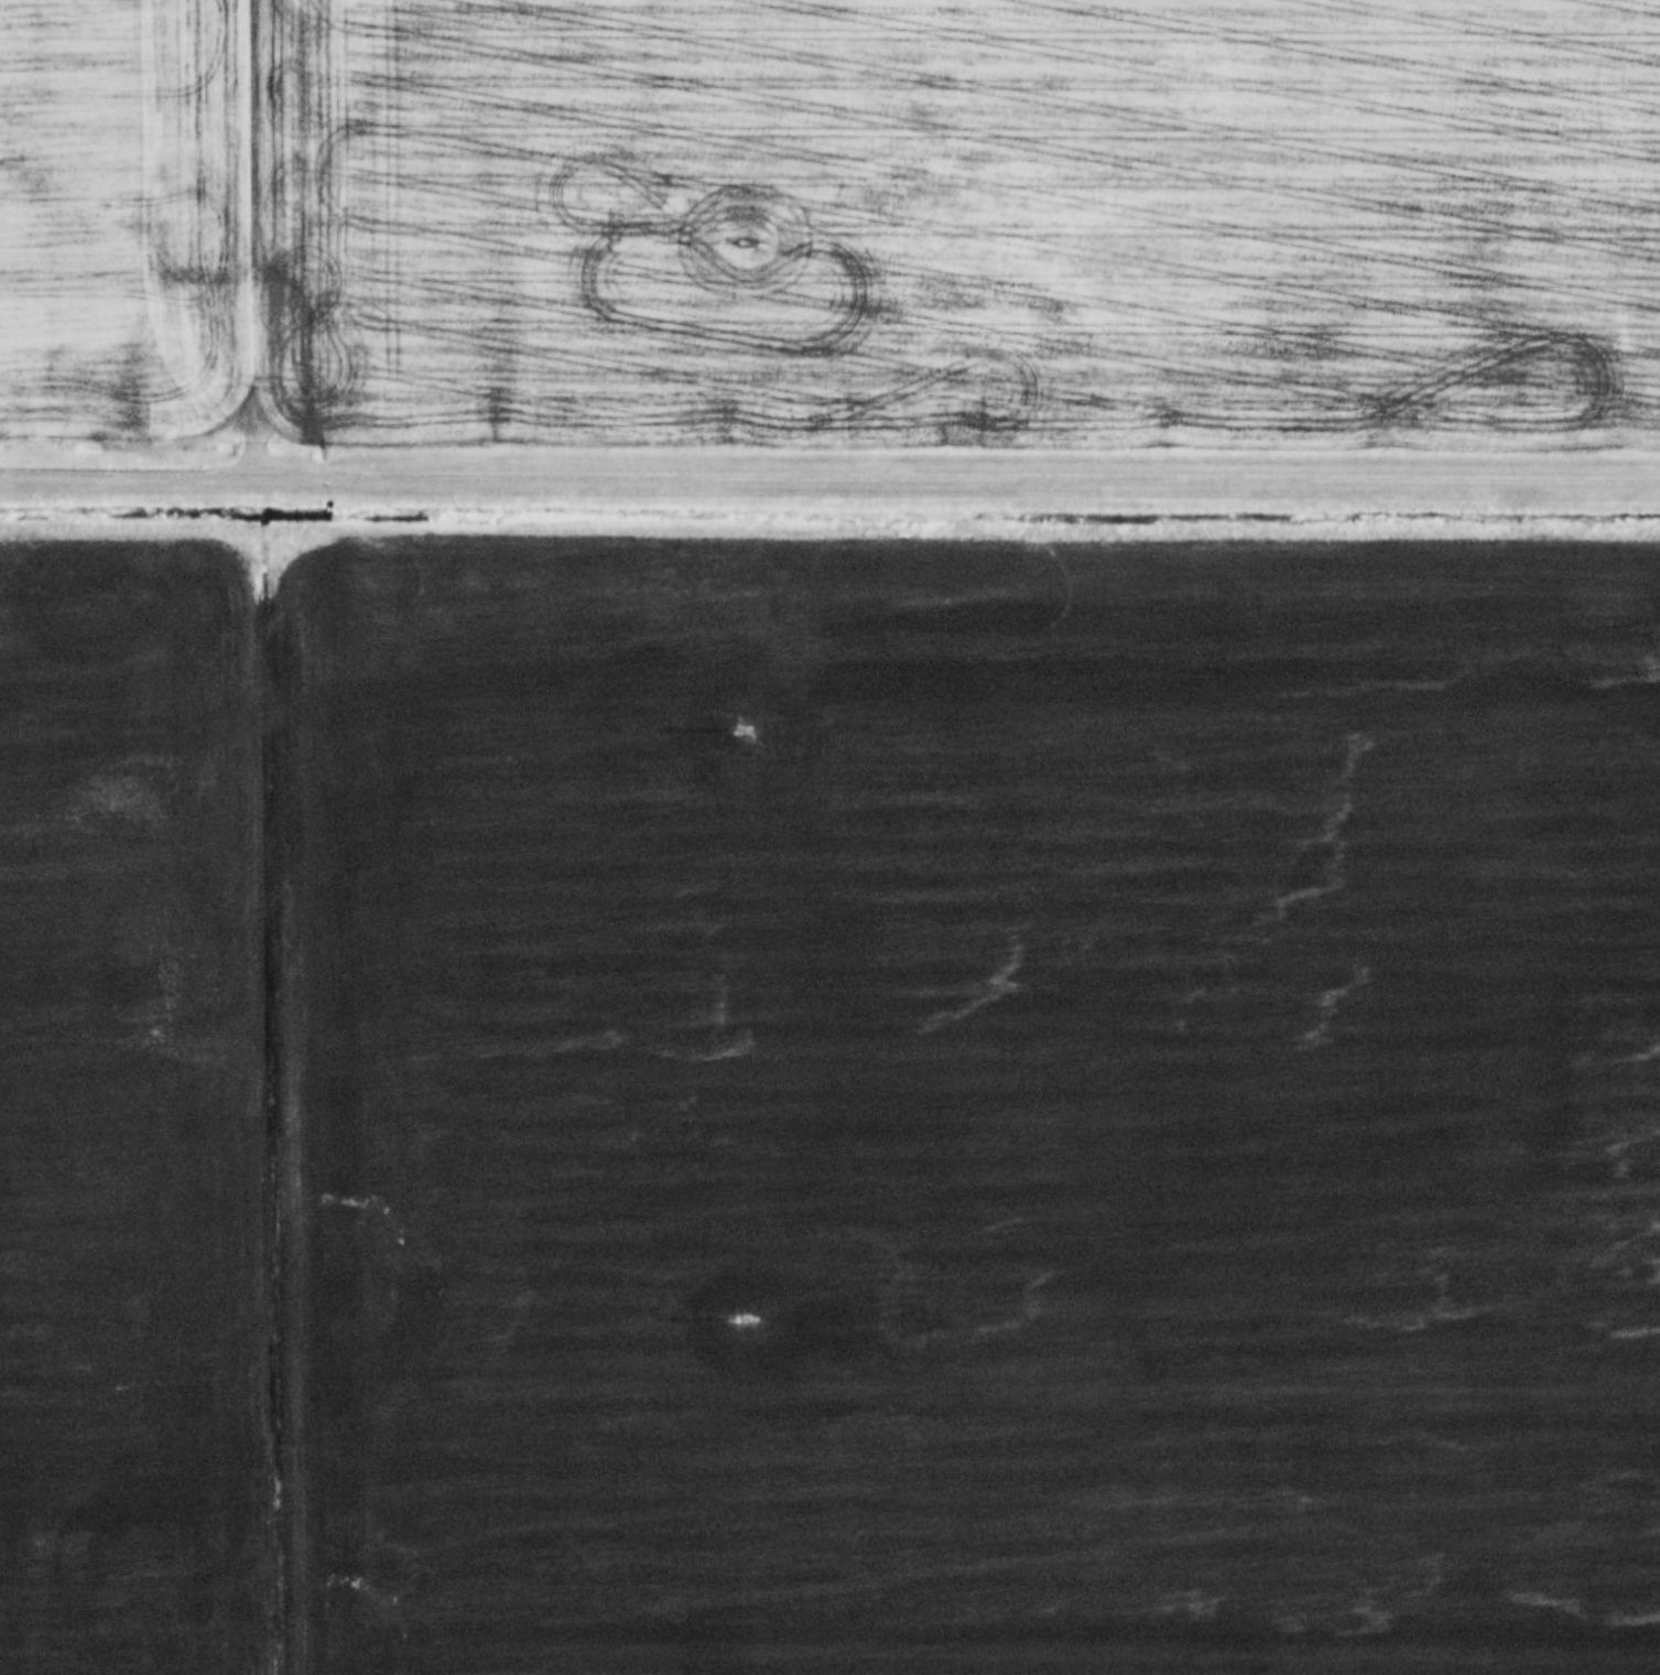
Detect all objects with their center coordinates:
crop: (836, 223)
power tower: (744, 241)
road: (829, 471)
power tower: (737, 728)
crop: (967, 1102)
crop: (138, 1114)
power tower: (745, 1318)

